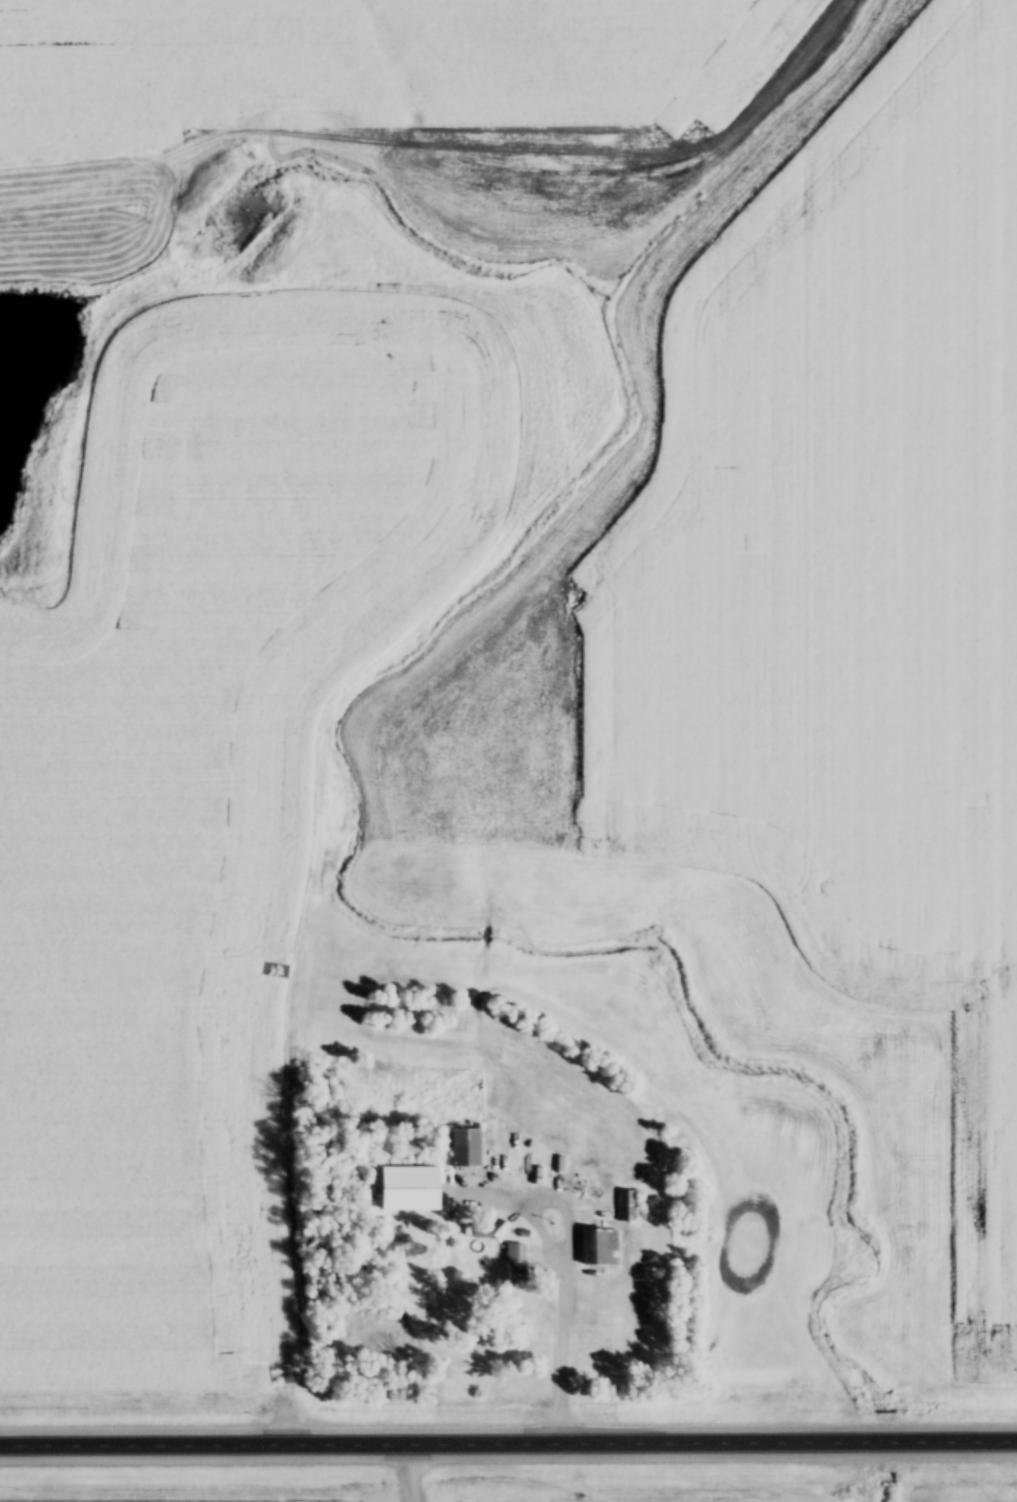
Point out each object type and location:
building: (466, 1149)
building: (625, 1207)
building: (599, 1249)
building: (516, 1265)
road: (564, 1269)
building: (606, 1319)
road: (508, 1438)

